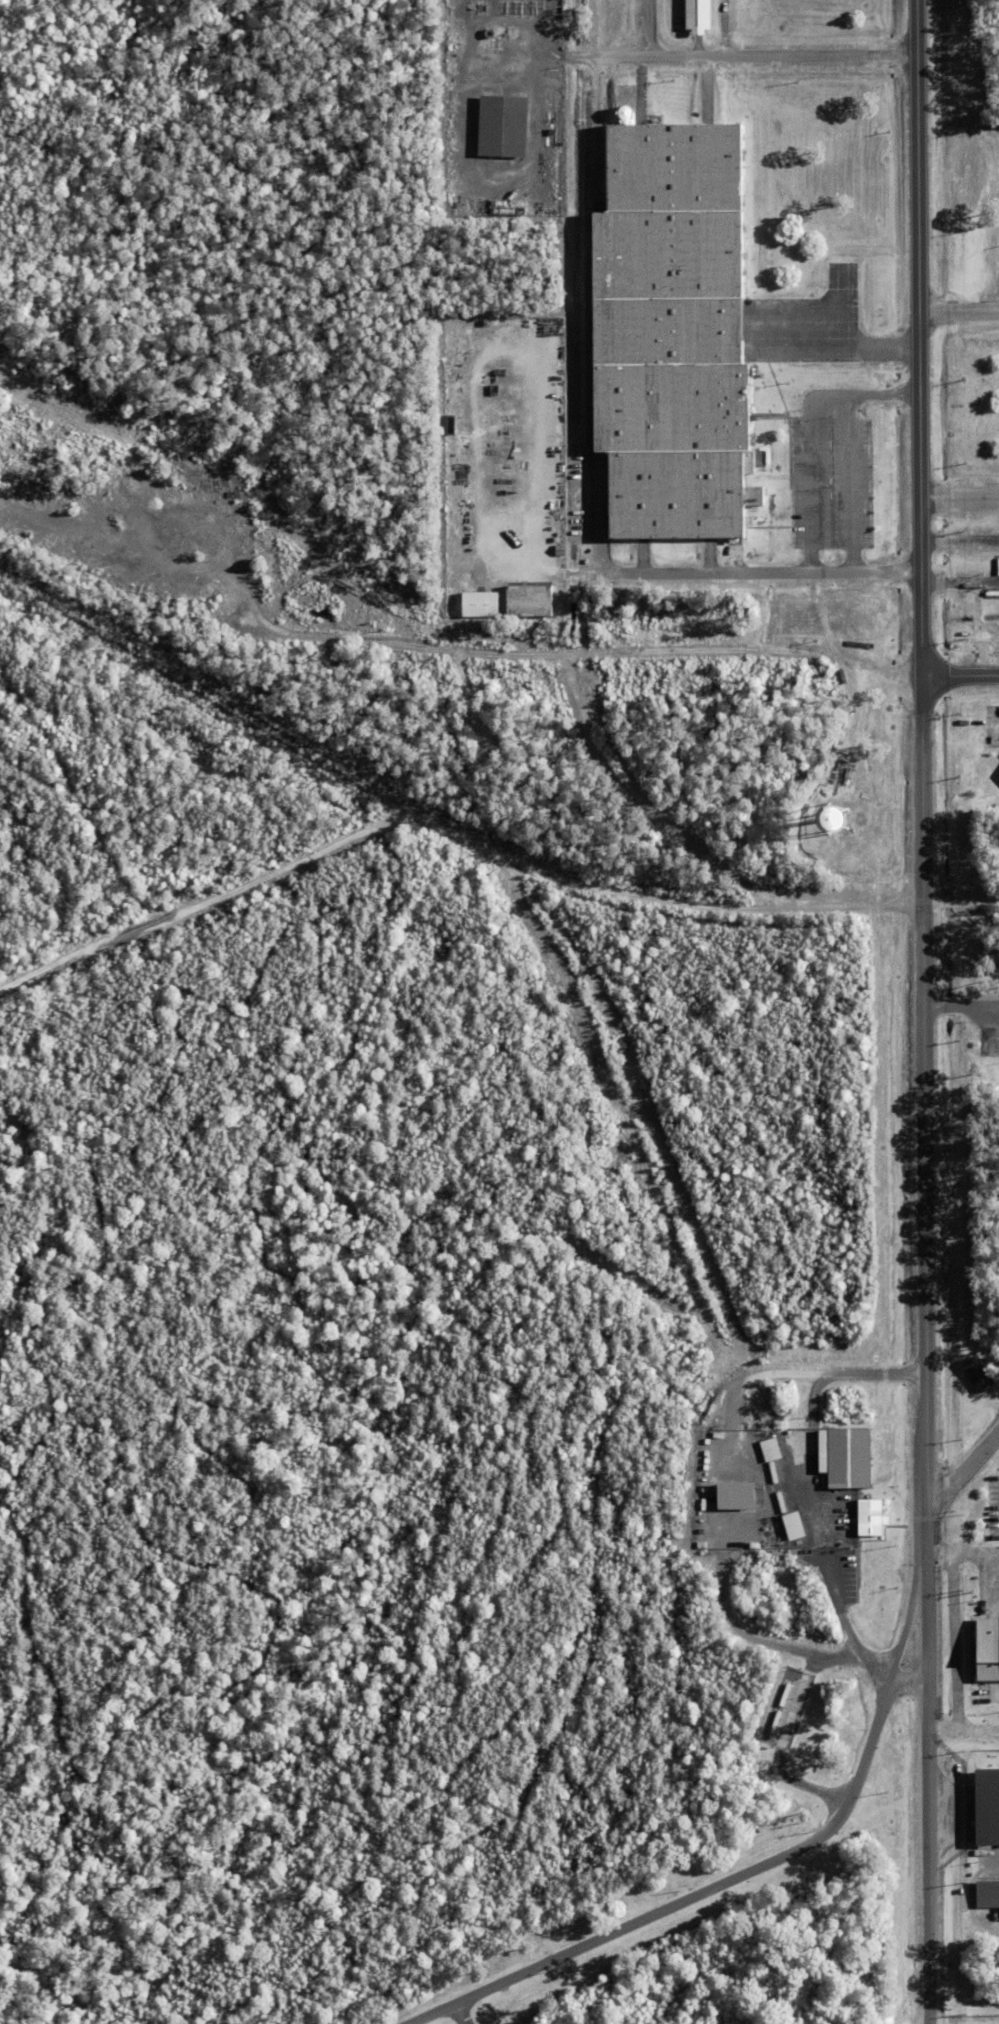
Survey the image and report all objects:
building: (693, 16)
road: (751, 54)
road: (560, 56)
building: (620, 113)
building: (499, 125)
road: (957, 310)
building: (668, 336)
road: (862, 394)
road: (808, 483)
road: (958, 498)
building: (70, 501)
road: (753, 572)
building: (527, 600)
building: (477, 605)
road: (440, 648)
road: (958, 674)
water tower: (829, 819)
road: (921, 1012)
building: (998, 1362)
building: (979, 1373)
building: (767, 1448)
building: (842, 1456)
road: (965, 1462)
building: (726, 1494)
building: (867, 1517)
building: (790, 1524)
road: (963, 1555)
road: (840, 1613)
road: (907, 1614)
road: (755, 1639)
building: (985, 1649)
road: (910, 1679)
road: (963, 1731)
building: (985, 1805)
building: (985, 1892)
road: (695, 1895)
road: (460, 2013)

